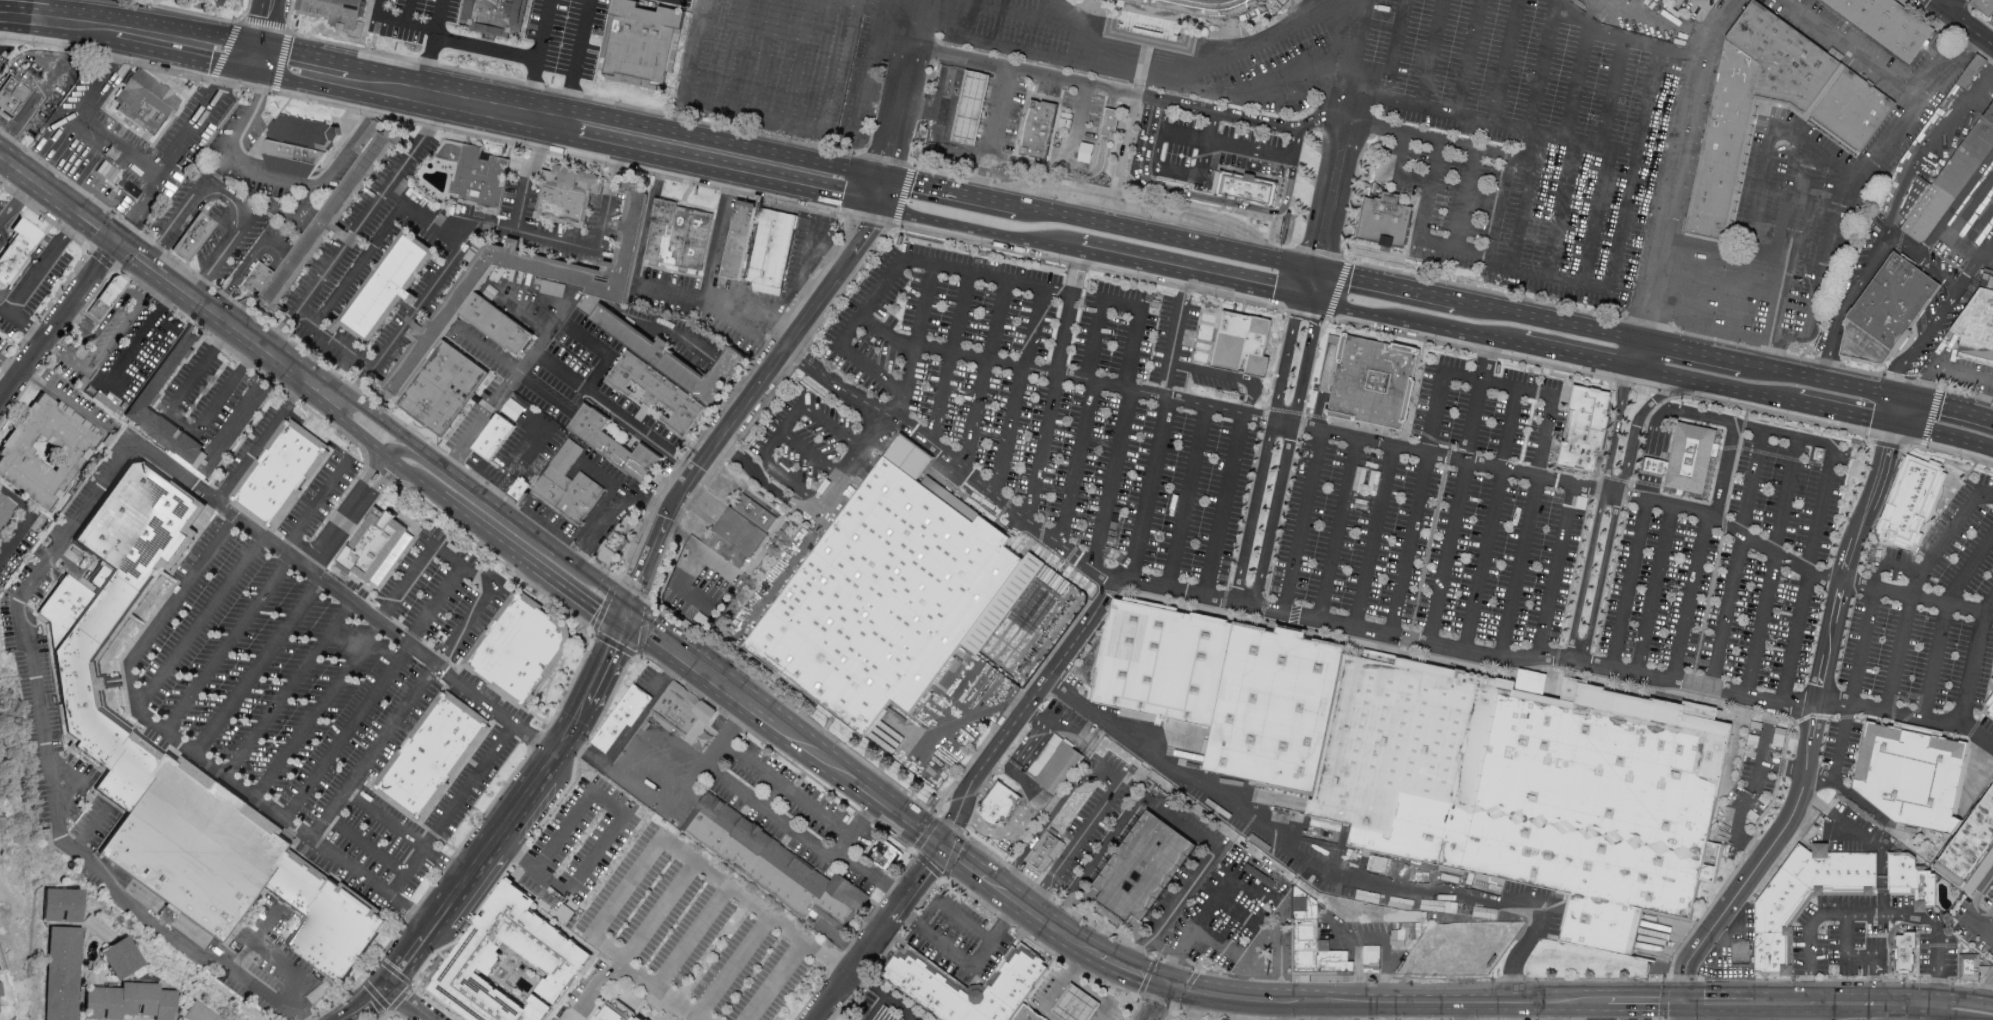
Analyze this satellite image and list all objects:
road: (218, 0)
road: (904, 3)
road: (1698, 5)
road: (1951, 6)
road: (27, 7)
building: (1984, 7)
road: (408, 11)
road: (1055, 11)
road: (5, 12)
building: (331, 12)
road: (5, 13)
road: (19, 13)
building: (497, 14)
building: (1180, 15)
stadium: (1180, 15)
road: (1040, 17)
road: (437, 18)
road: (75, 20)
road: (398, 20)
road: (1586, 22)
road: (1961, 22)
road: (918, 24)
building: (1886, 24)
road: (951, 25)
road: (265, 28)
road: (543, 29)
road: (1398, 37)
building: (642, 44)
road: (486, 48)
road: (1013, 49)
road: (1659, 49)
road: (1851, 49)
road: (695, 52)
road: (1431, 55)
road: (729, 56)
traffic signals: (258, 57)
road: (1223, 57)
road: (25, 58)
road: (1359, 58)
road: (762, 59)
road: (1470, 59)
parking lot: (868, 60)
road: (578, 61)
road: (798, 63)
road: (1506, 63)
road: (832, 67)
road: (1541, 67)
road: (866, 69)
road: (1374, 72)
road: (344, 75)
road: (1575, 83)
road: (45, 87)
road: (1099, 87)
road: (1388, 88)
road: (1082, 91)
road: (1265, 91)
road: (1126, 92)
building: (11, 96)
road: (1609, 97)
building: (147, 103)
road: (251, 109)
building: (970, 109)
road: (1243, 117)
road: (1132, 121)
road: (7, 122)
road: (767, 123)
gas station: (1020, 123)
building: (1110, 123)
road: (1492, 126)
road: (896, 127)
parking lot: (1452, 129)
road: (995, 130)
building: (1038, 131)
road: (1150, 131)
building: (1855, 136)
road: (354, 137)
building: (369, 137)
road: (1424, 137)
road: (725, 140)
road: (1223, 143)
road: (1207, 144)
road: (1929, 148)
building: (300, 149)
building: (1087, 151)
road: (1680, 151)
road: (1814, 151)
road: (1401, 153)
road: (1295, 154)
road: (131, 156)
road: (0, 157)
road: (1172, 171)
building: (475, 172)
road: (718, 172)
road: (1083, 173)
traffic signals: (885, 175)
road: (529, 176)
road: (1336, 176)
road: (268, 178)
road: (1413, 178)
road: (34, 180)
building: (1947, 181)
road: (1854, 184)
building: (127, 187)
road: (1630, 187)
road: (955, 189)
road: (1761, 189)
building: (1246, 190)
road: (1427, 191)
building: (566, 196)
road: (232, 199)
road: (1463, 200)
road: (1221, 201)
road: (18, 204)
road: (1797, 205)
traffic signals: (877, 207)
road: (138, 209)
road: (1560, 209)
road: (1143, 210)
road: (1596, 216)
road: (424, 217)
building: (1384, 221)
road: (90, 222)
building: (329, 222)
road: (966, 226)
road: (501, 231)
road: (1150, 232)
road: (1943, 235)
road: (1509, 237)
traffic signals: (113, 239)
building: (194, 239)
road: (723, 239)
building: (680, 241)
road: (275, 243)
building: (742, 243)
road: (345, 245)
road: (1984, 247)
road: (807, 249)
road: (1447, 249)
road: (1312, 251)
road: (1724, 251)
road: (1323, 253)
road: (1909, 253)
building: (775, 254)
building: (18, 256)
road: (1288, 262)
road: (359, 265)
road: (41, 267)
road: (1313, 268)
road: (898, 269)
road: (1176, 271)
road: (1967, 274)
building: (260, 279)
road: (1300, 281)
road: (1321, 285)
road: (1701, 285)
building: (388, 286)
road: (1400, 286)
road: (146, 287)
building: (614, 292)
road: (1740, 293)
building: (108, 298)
road: (1308, 299)
road: (704, 300)
traffic signals: (1319, 301)
road: (753, 304)
road: (1121, 305)
road: (1341, 305)
road: (1069, 312)
building: (1886, 312)
road: (1382, 313)
road: (1774, 313)
road: (520, 315)
road: (1669, 316)
road: (56, 319)
road: (1556, 321)
road: (230, 324)
road: (1641, 325)
road: (24, 326)
building: (1977, 326)
building: (502, 327)
road: (552, 327)
road: (99, 328)
road: (1455, 328)
road: (1730, 330)
road: (142, 334)
road: (886, 334)
road: (1176, 335)
road: (916, 345)
building: (1242, 346)
road: (104, 349)
road: (53, 350)
road: (1695, 351)
road: (1569, 353)
road: (1633, 353)
road: (950, 358)
road: (1485, 359)
building: (680, 360)
road: (987, 360)
road: (1943, 365)
road: (9, 366)
road: (984, 374)
road: (1225, 379)
road: (1828, 380)
road: (1710, 383)
building: (1372, 384)
road: (1499, 385)
road: (585, 388)
road: (360, 390)
building: (448, 391)
road: (500, 391)
road: (1019, 391)
building: (148, 396)
traffic signals: (1904, 396)
building: (662, 398)
road: (65, 401)
road: (602, 404)
road: (741, 405)
road: (1948, 406)
road: (1843, 411)
road: (1674, 412)
road: (377, 419)
road: (821, 420)
road: (184, 422)
traffic signals: (1896, 422)
building: (1585, 428)
road: (1944, 433)
road: (360, 435)
road: (1781, 435)
building: (495, 437)
road: (262, 443)
road: (1384, 445)
road: (773, 446)
road: (1042, 446)
building: (618, 447)
building: (46, 450)
road: (521, 451)
road: (1266, 451)
road: (1286, 456)
building: (1686, 459)
road: (435, 460)
road: (860, 463)
road: (1076, 463)
road: (1650, 466)
road: (1721, 470)
building: (283, 476)
road: (1110, 480)
building: (568, 486)
road: (766, 486)
road: (1647, 487)
building: (519, 490)
road: (1146, 490)
road: (1185, 497)
road: (1003, 500)
building: (1913, 504)
road: (316, 505)
road: (479, 505)
road: (1223, 505)
road: (1617, 505)
road: (597, 506)
building: (5, 507)
road: (458, 510)
road: (1597, 512)
road: (348, 513)
road: (507, 513)
road: (1453, 514)
road: (617, 516)
parking lot: (1408, 517)
road: (28, 519)
road: (1489, 520)
road: (1301, 523)
road: (1338, 531)
road: (69, 533)
building: (740, 534)
road: (1373, 538)
building: (376, 545)
road: (555, 549)
building: (612, 550)
road: (1738, 560)
road: (787, 564)
road: (1771, 567)
road: (1554, 570)
road: (1805, 574)
road: (595, 579)
road: (1841, 583)
road: (1630, 585)
road: (1913, 586)
road: (1656, 590)
road: (184, 593)
road: (575, 596)
road: (1692, 598)
building: (909, 603)
road: (437, 607)
building: (113, 614)
road: (1989, 615)
road: (1944, 621)
road: (201, 623)
road: (595, 636)
road: (1830, 644)
road: (229, 645)
road: (450, 646)
building: (524, 652)
road: (1861, 653)
building: (1162, 659)
road: (1601, 664)
road: (1974, 665)
road: (260, 667)
parking lot: (320, 667)
road: (698, 669)
road: (1040, 687)
road: (291, 691)
building: (1990, 705)
building: (1274, 707)
building: (683, 712)
road: (321, 713)
building: (623, 718)
road: (1057, 725)
road: (349, 733)
road: (641, 740)
road: (718, 748)
road: (679, 749)
road: (814, 756)
building: (434, 760)
road: (209, 764)
road: (601, 764)
building: (1054, 765)
road: (1783, 766)
road: (660, 770)
building: (1910, 774)
road: (1119, 779)
building: (1527, 789)
road: (787, 791)
road: (1847, 792)
road: (1750, 797)
road: (654, 803)
building: (999, 808)
road: (451, 812)
road: (486, 813)
road: (897, 817)
road: (1173, 821)
road: (335, 824)
road: (953, 824)
road: (860, 827)
road: (1829, 828)
road: (500, 830)
road: (606, 830)
road: (91, 831)
road: (407, 835)
road: (804, 839)
building: (1968, 840)
building: (197, 846)
road: (367, 847)
traffic signals: (939, 849)
building: (1045, 853)
building: (884, 857)
road: (963, 865)
building: (775, 867)
building: (1144, 868)
road: (1317, 869)
road: (922, 873)
building: (1835, 874)
road: (1880, 879)
building: (1911, 880)
road: (372, 885)
road: (625, 888)
road: (134, 891)
building: (63, 903)
road: (755, 907)
building: (1781, 908)
road: (1969, 911)
road: (657, 913)
road: (1870, 914)
building: (327, 921)
road: (964, 921)
road: (919, 926)
road: (1054, 930)
road: (1988, 930)
road: (690, 937)
road: (259, 940)
parking lot: (960, 940)
road: (1703, 942)
road: (209, 943)
building: (1315, 948)
road: (605, 950)
building: (121, 955)
building: (1742, 955)
road: (1844, 956)
building: (1905, 957)
building: (510, 959)
road: (860, 959)
building: (1773, 959)
road: (965, 961)
building: (1372, 964)
road: (1077, 966)
building: (1970, 967)
road: (733, 968)
building: (63, 972)
road: (290, 972)
road: (1147, 978)
road: (774, 981)
traffic signals: (1170, 986)
building: (925, 987)
building: (0, 988)
road: (1875, 988)
road: (598, 991)
road: (659, 991)
road: (1982, 993)
road: (884, 995)
road: (401, 998)
road: (1220, 998)
building: (129, 1000)
road: (407, 1002)
road: (1162, 1003)
building: (1076, 1005)
road: (1439, 1005)
road: (1643, 1006)
traffic signals: (1680, 1006)
road: (1720, 1006)
road: (1841, 1006)
road: (1958, 1007)
road: (878, 1008)
road: (1246, 1011)
building: (196, 1012)
building: (619, 1012)
road: (1285, 1012)
road: (1332, 1012)
road: (1382, 1012)
road: (1460, 1012)
road: (1922, 1012)
road: (1554, 1013)
road: (1616, 1013)
road: (1681, 1013)
road: (1821, 1013)
building: (1028, 1015)
road: (910, 1018)

